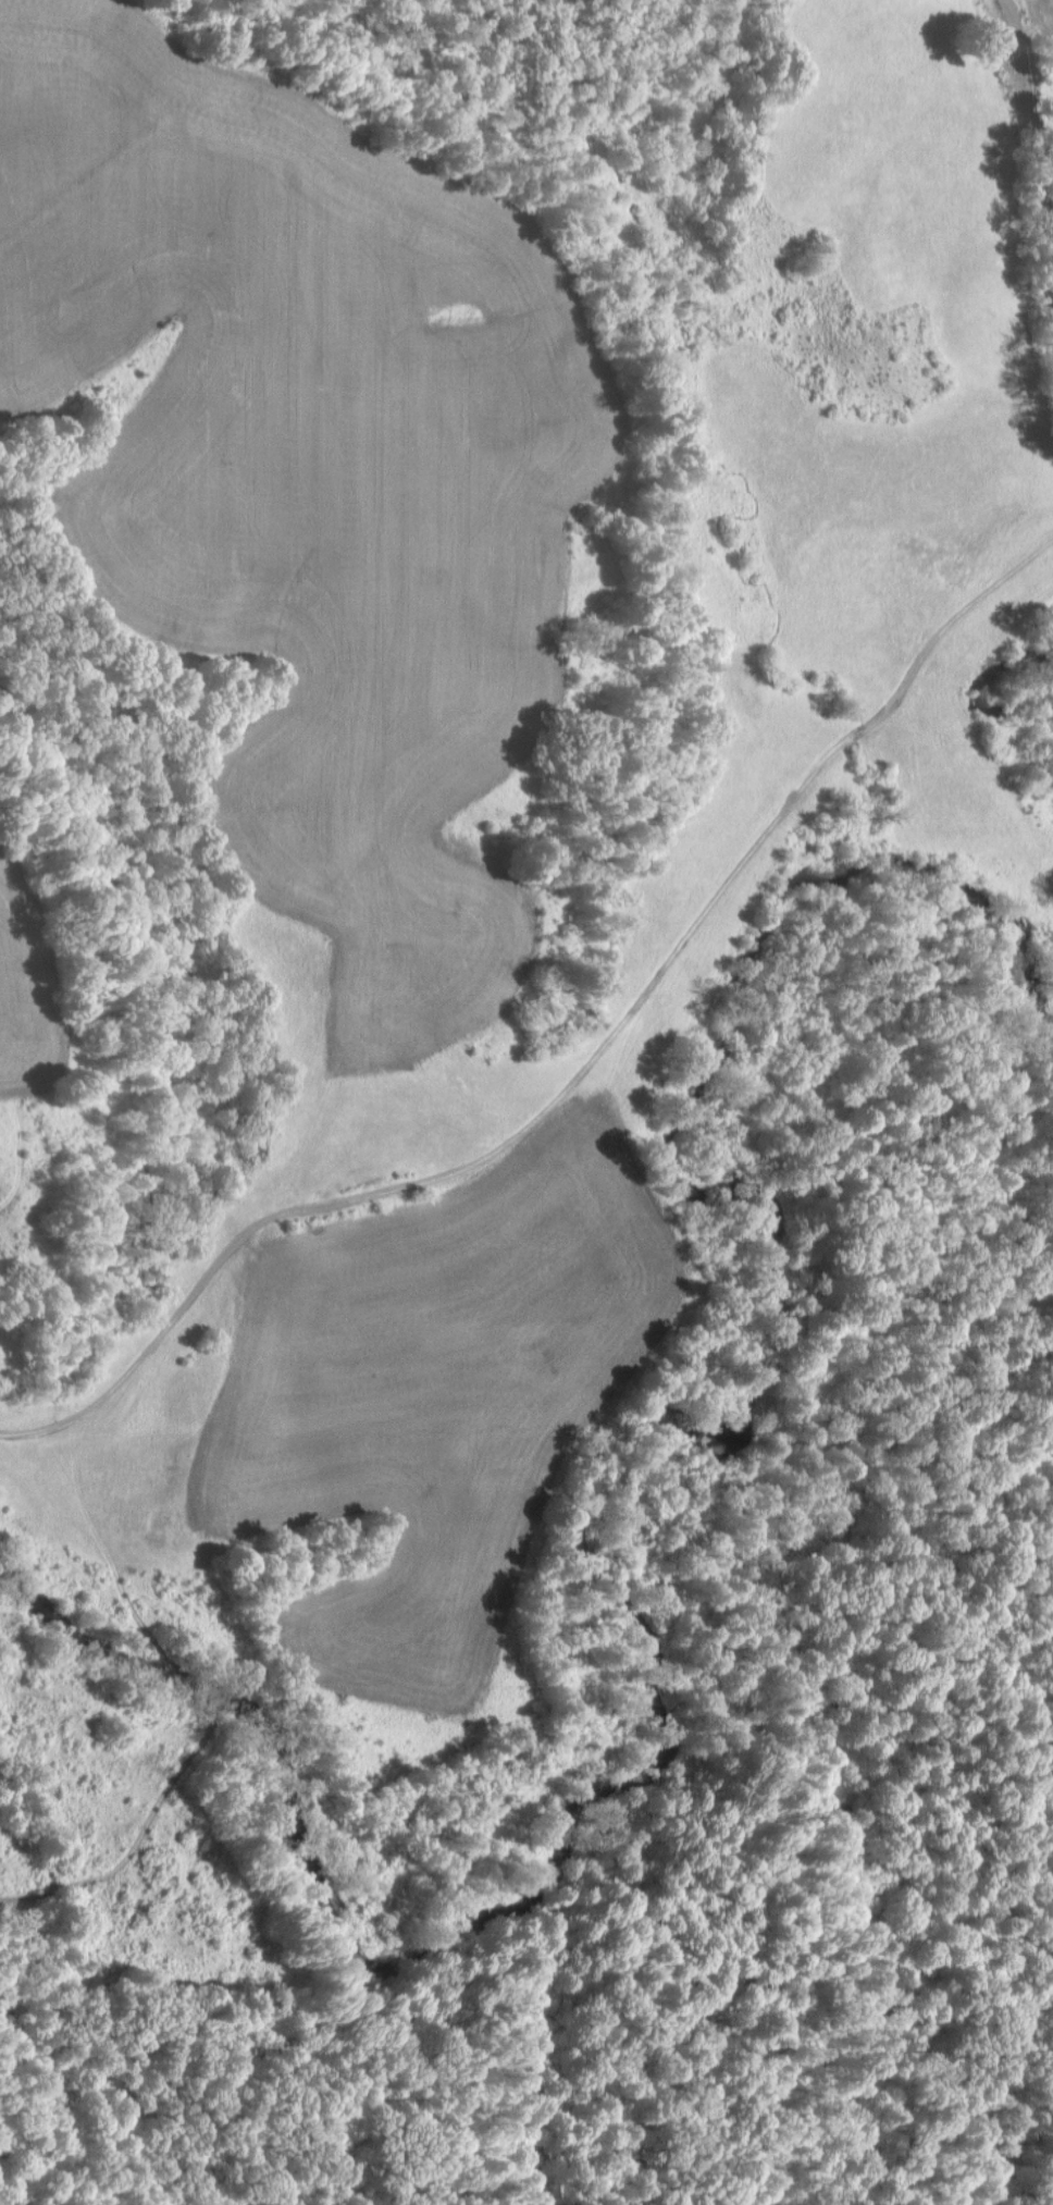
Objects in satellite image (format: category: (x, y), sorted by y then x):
road: (1031, 138)

